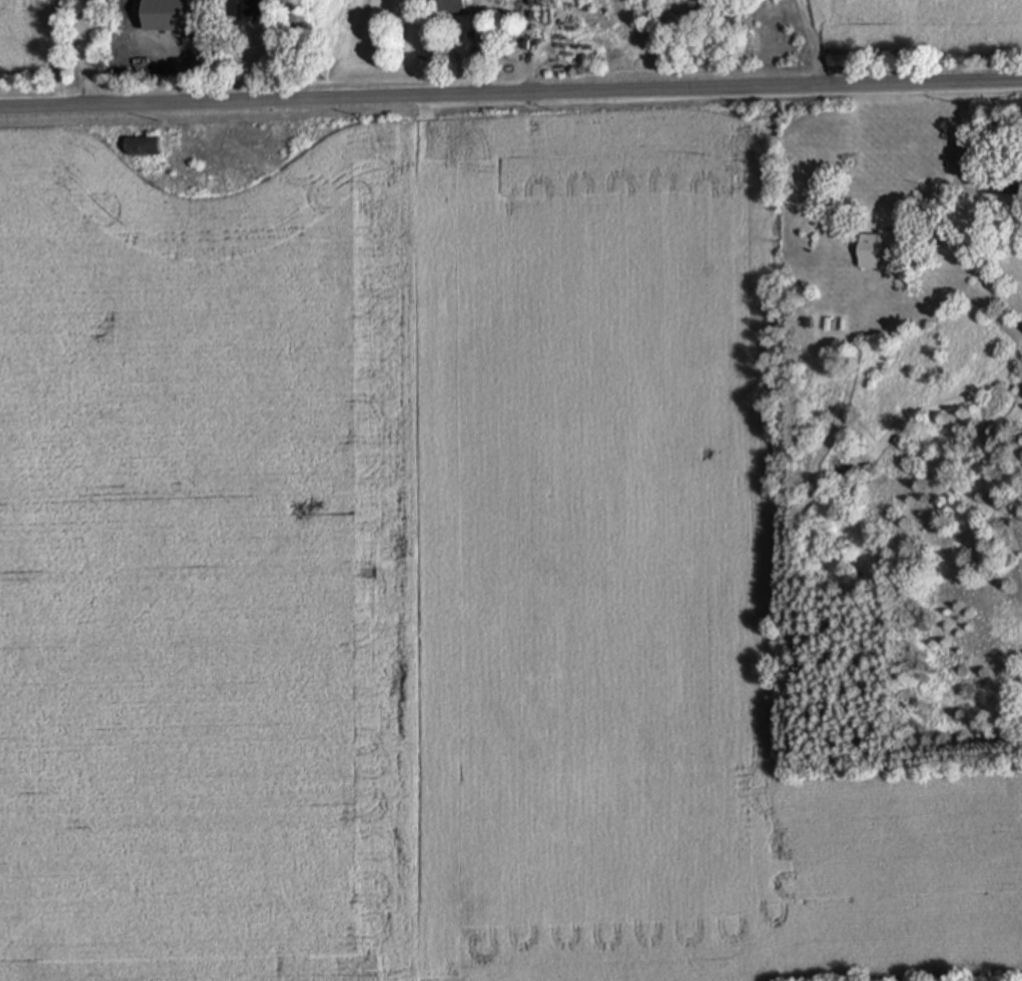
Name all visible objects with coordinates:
building: (447, 6)
building: (249, 12)
building: (183, 27)
road: (510, 94)
building: (142, 147)
building: (962, 158)
road: (970, 193)
building: (877, 251)

